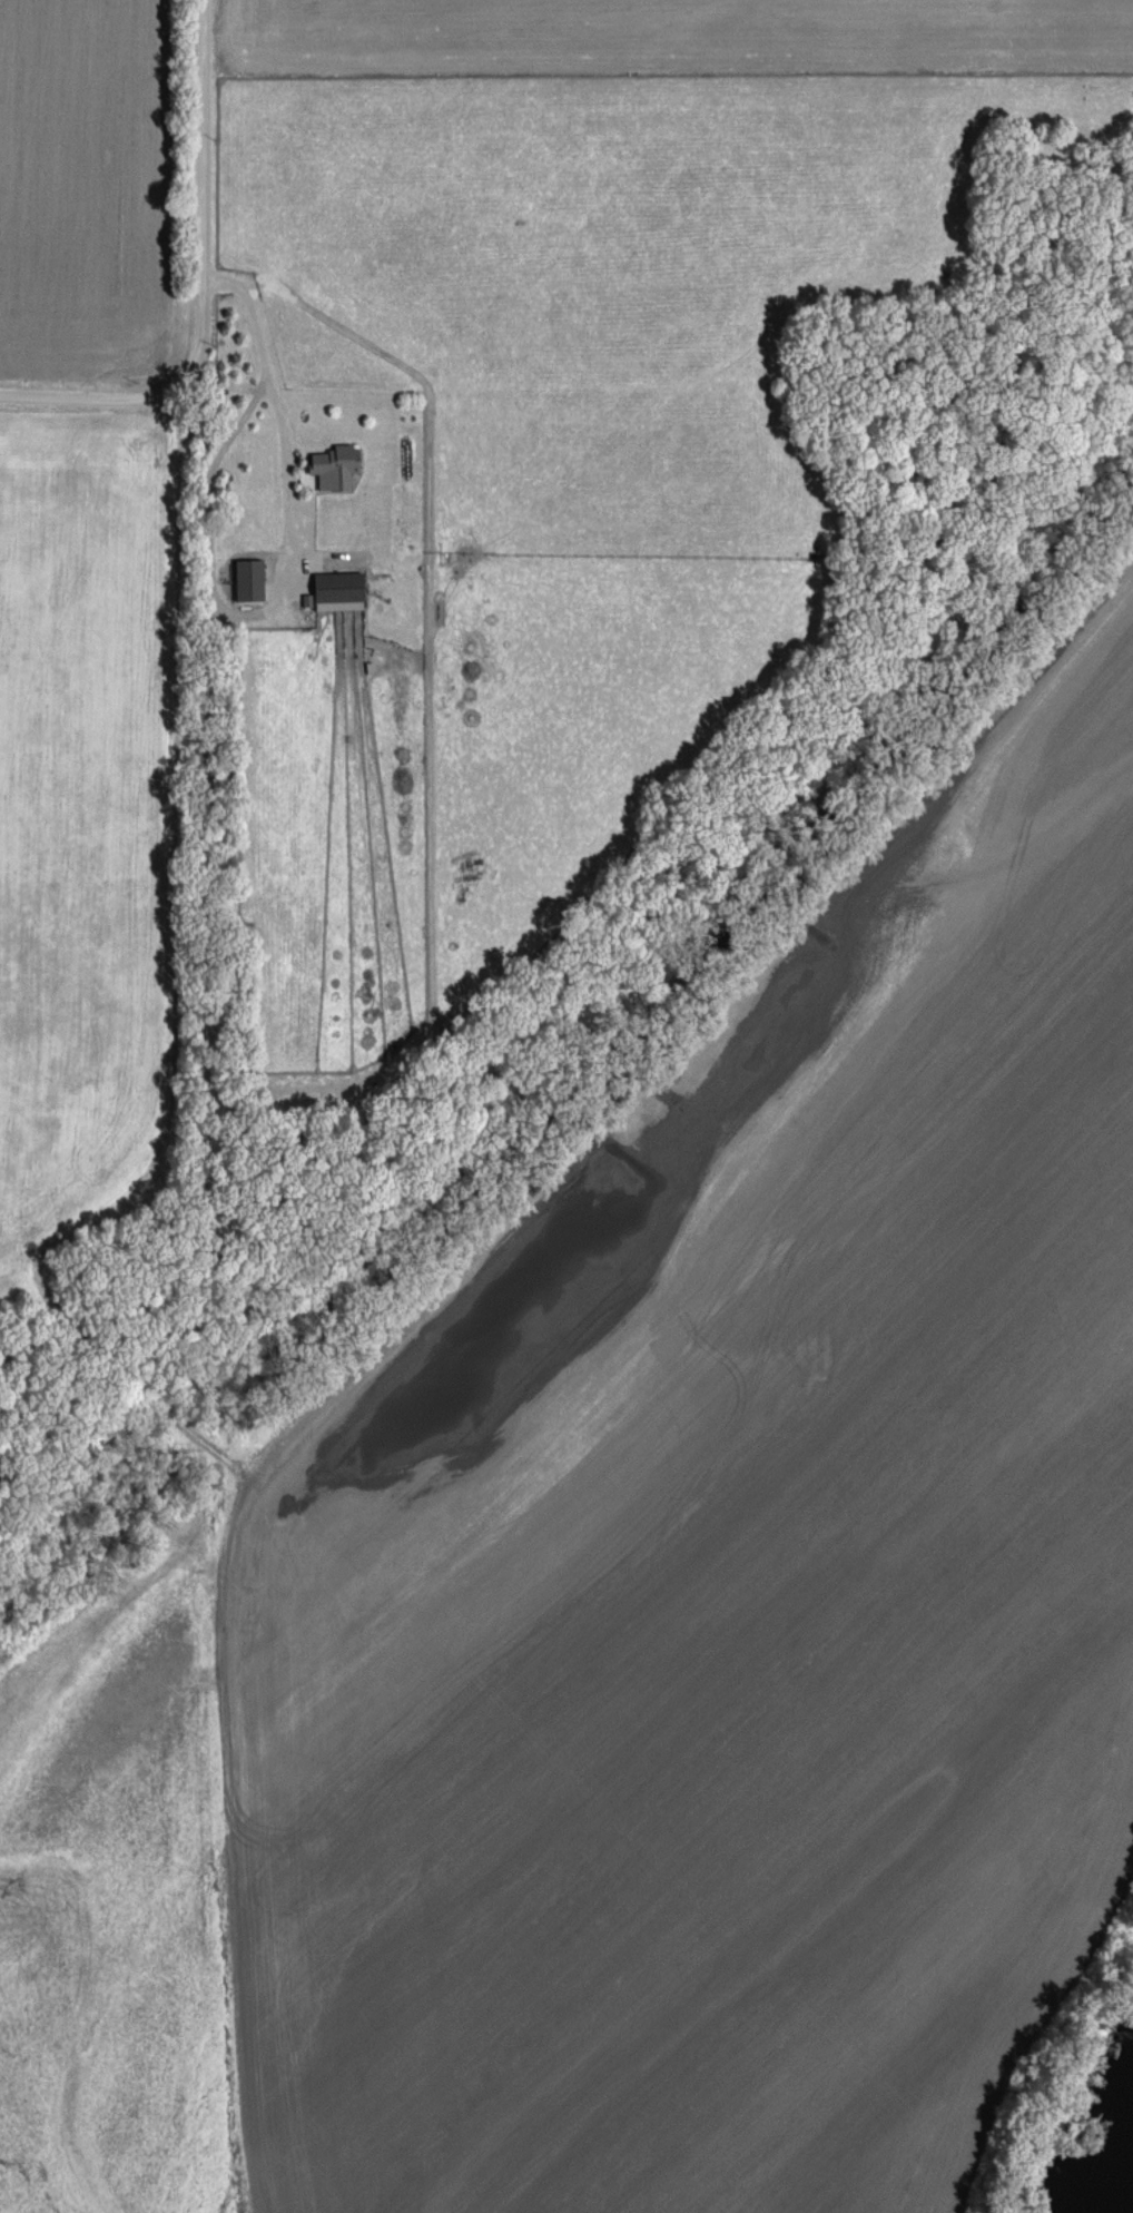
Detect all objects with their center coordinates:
road: (203, 194)
road: (262, 364)
road: (90, 384)
building: (336, 470)
building: (247, 583)
building: (339, 594)

